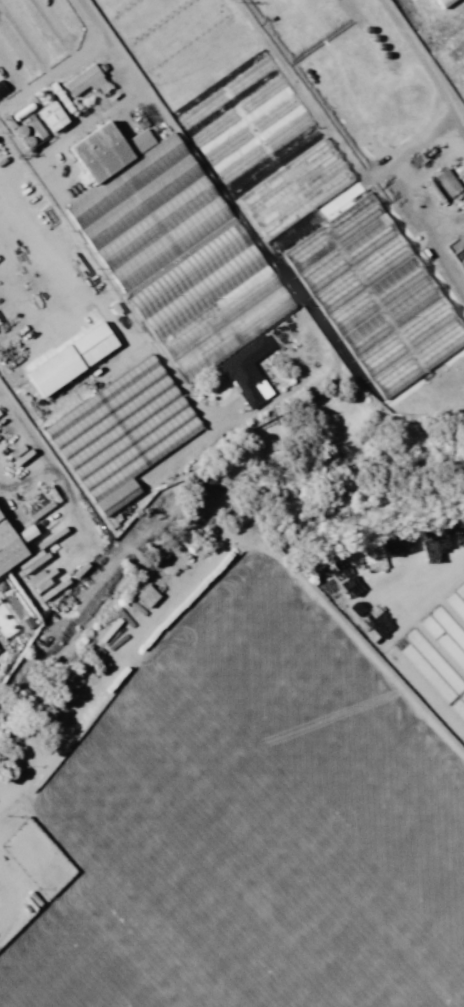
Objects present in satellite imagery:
building: (439, 2)
building: (85, 81)
building: (449, 183)
building: (292, 186)
building: (178, 255)
building: (73, 360)
building: (122, 433)
building: (10, 549)
building: (85, 583)
building: (148, 601)
road: (134, 739)
building: (17, 761)
crop: (264, 809)

